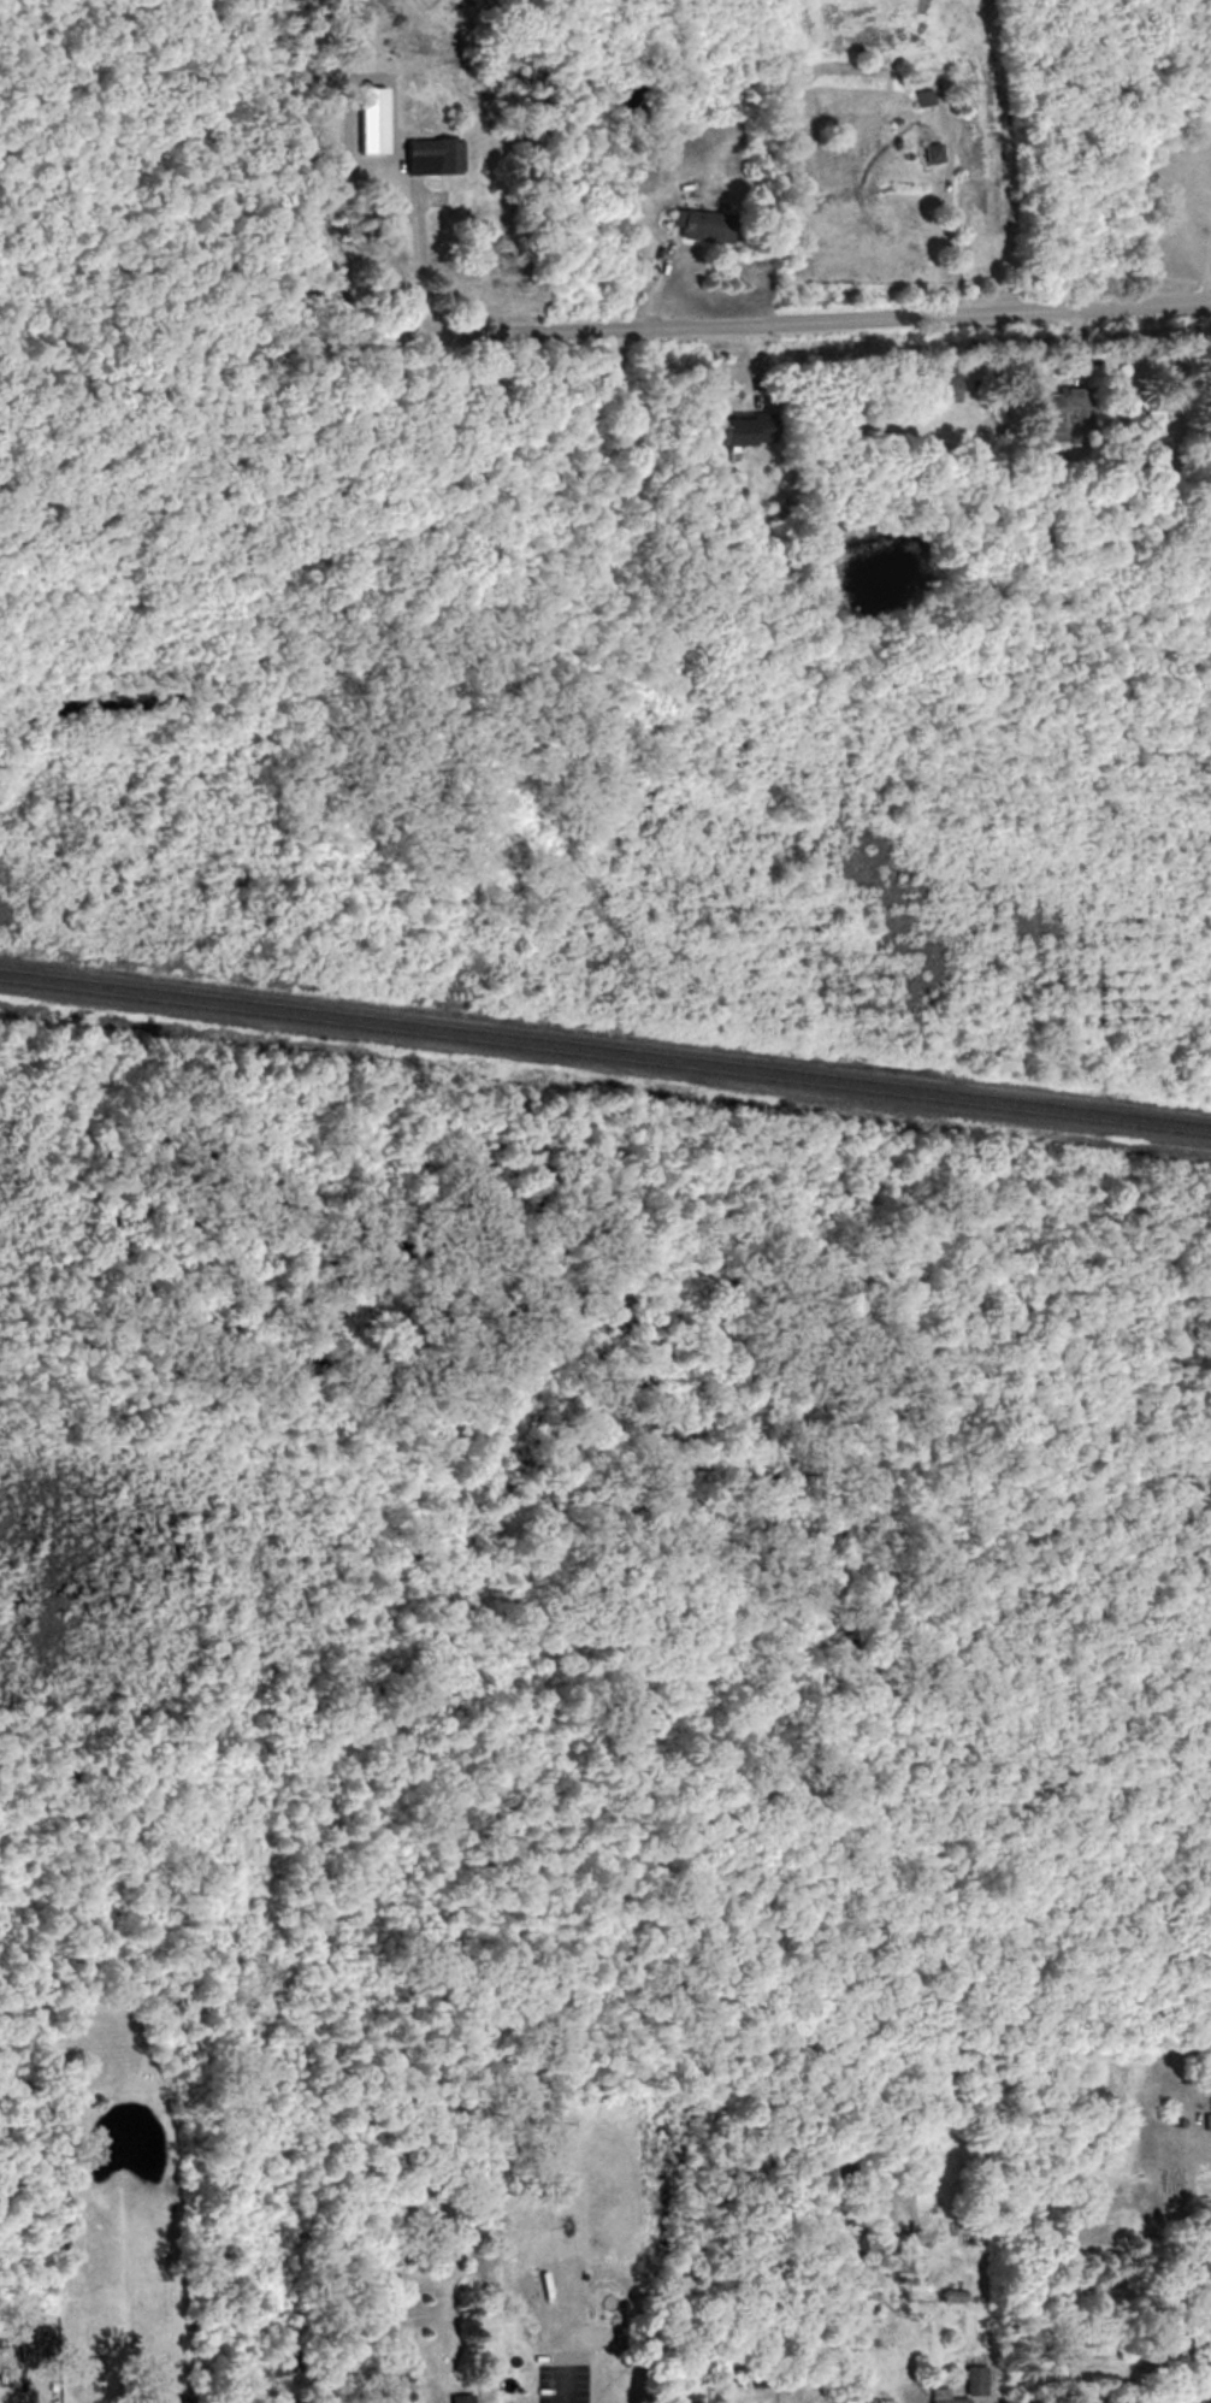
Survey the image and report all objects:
building: (419, 40)
building: (920, 98)
building: (370, 119)
building: (928, 153)
building: (425, 155)
building: (697, 225)
road: (420, 265)
road: (739, 324)
building: (937, 383)
building: (1144, 407)
building: (1062, 413)
building: (736, 427)
railway: (605, 1046)
railway: (604, 1058)
building: (1207, 2103)
building: (1204, 2122)
building: (26, 2345)
building: (970, 2380)
road: (561, 2381)
building: (938, 2396)
building: (1204, 2397)
building: (456, 2398)

